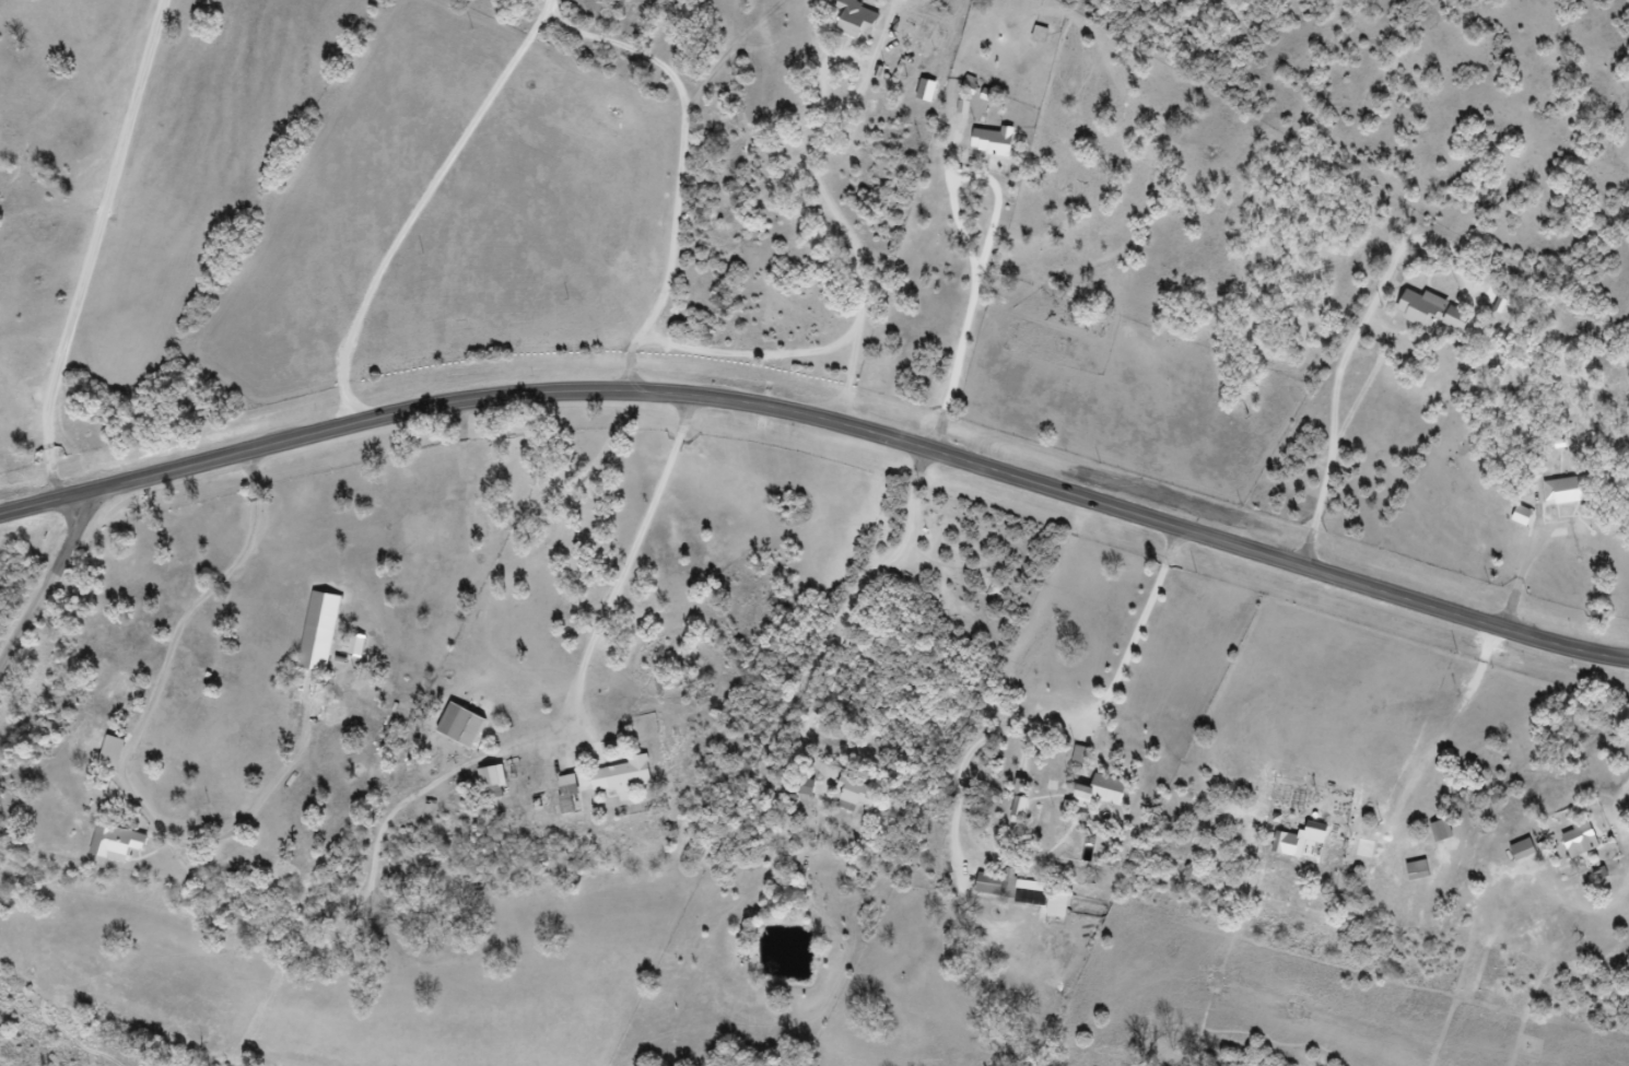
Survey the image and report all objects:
building: (910, 8)
building: (845, 22)
building: (1031, 38)
building: (984, 145)
road: (684, 162)
road: (423, 203)
building: (1423, 316)
road: (824, 418)
building: (1560, 495)
road: (624, 564)
road: (1522, 576)
road: (48, 588)
road: (180, 618)
building: (309, 635)
road: (189, 714)
building: (452, 729)
building: (483, 782)
building: (613, 783)
building: (800, 794)
building: (1093, 795)
building: (559, 797)
building: (846, 799)
road: (1619, 808)
building: (1432, 835)
building: (1572, 845)
building: (106, 846)
building: (1514, 855)
building: (1408, 875)
building: (987, 889)
road: (134, 902)

